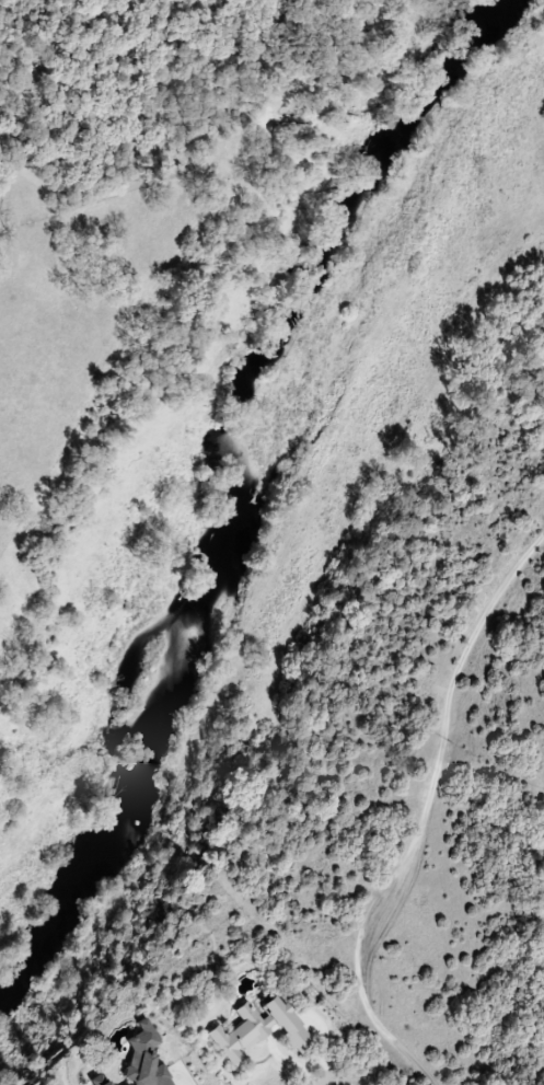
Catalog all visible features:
river: (220, 481)
road: (423, 816)
building: (259, 1028)
building: (146, 1058)
road: (320, 1080)
building: (100, 1081)

